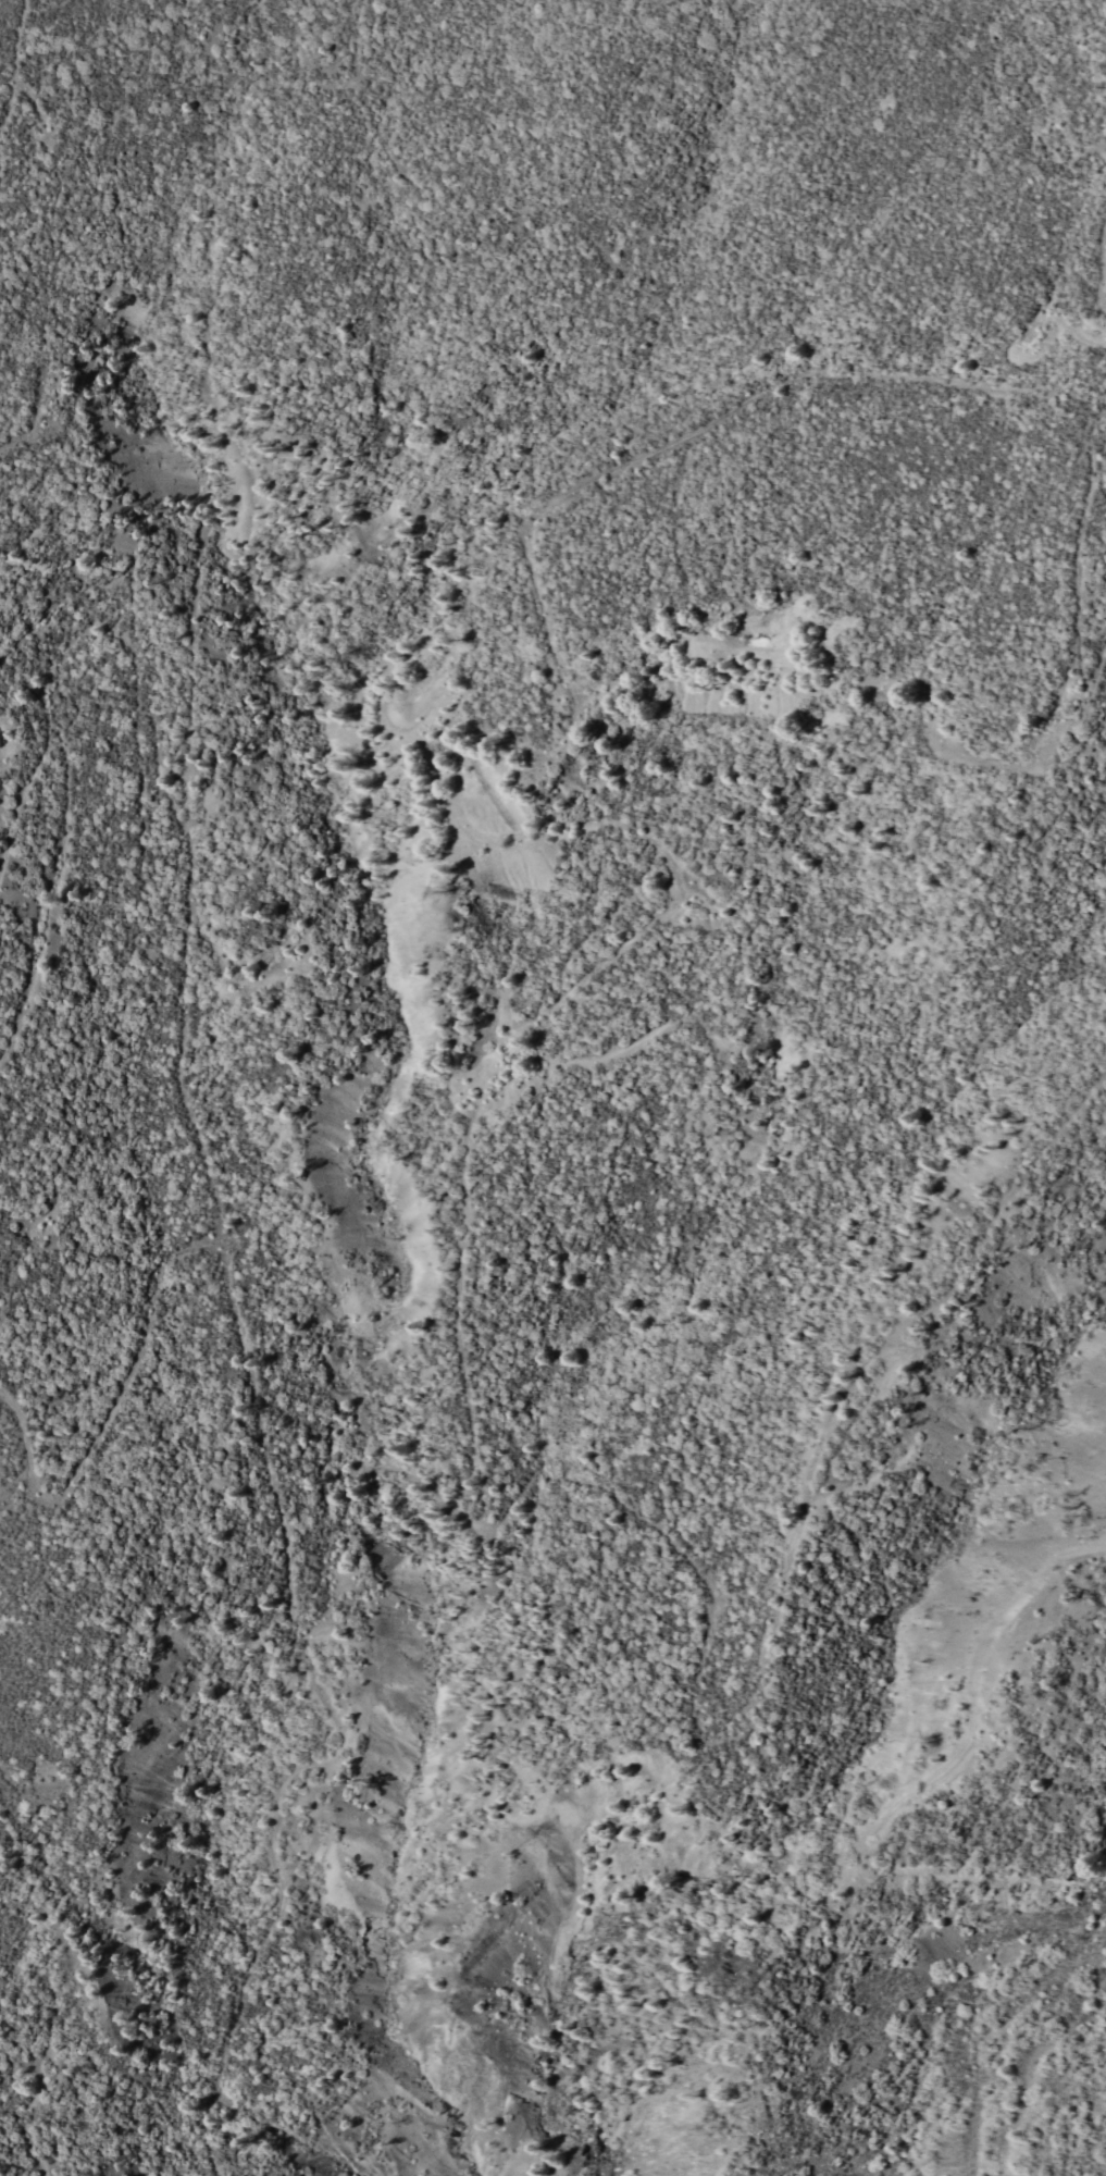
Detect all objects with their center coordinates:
quarry: (405, 1194)

